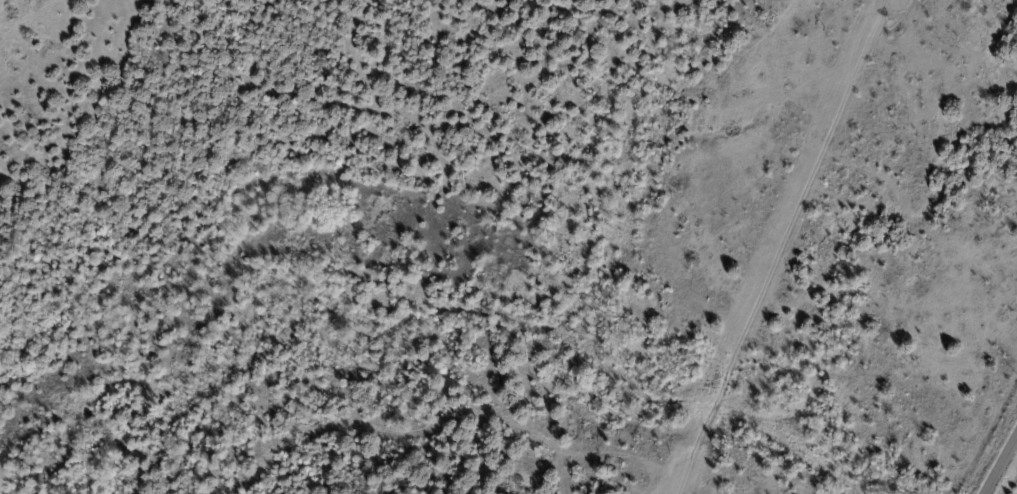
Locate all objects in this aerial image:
road: (1003, 469)

